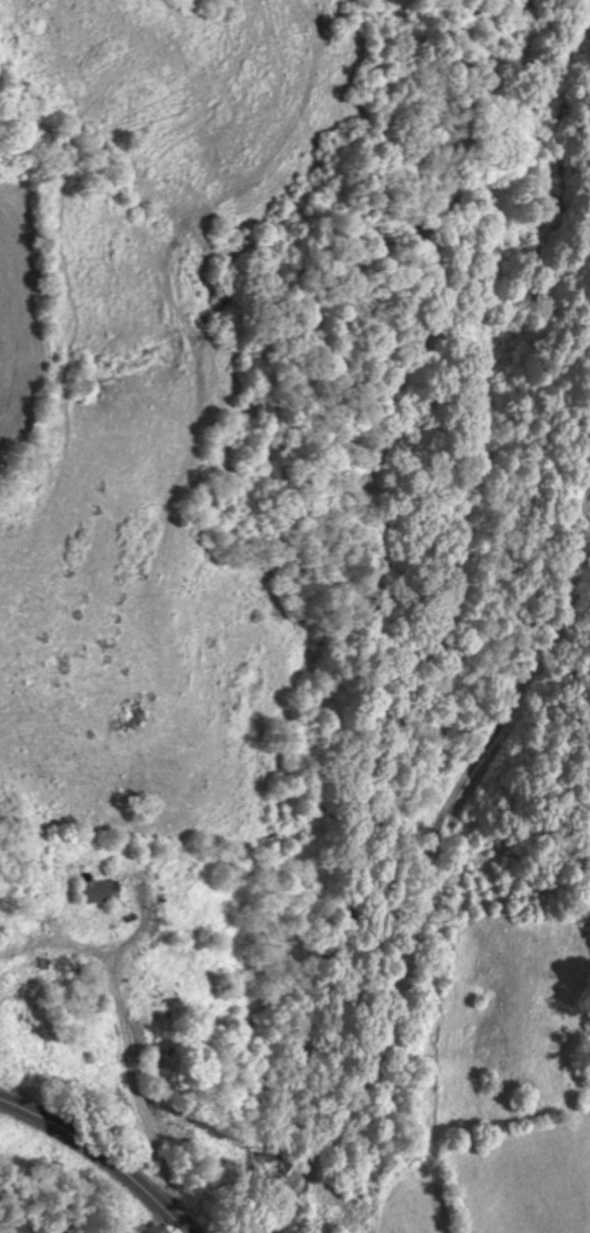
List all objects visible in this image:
building: (101, 892)
road: (100, 1154)

